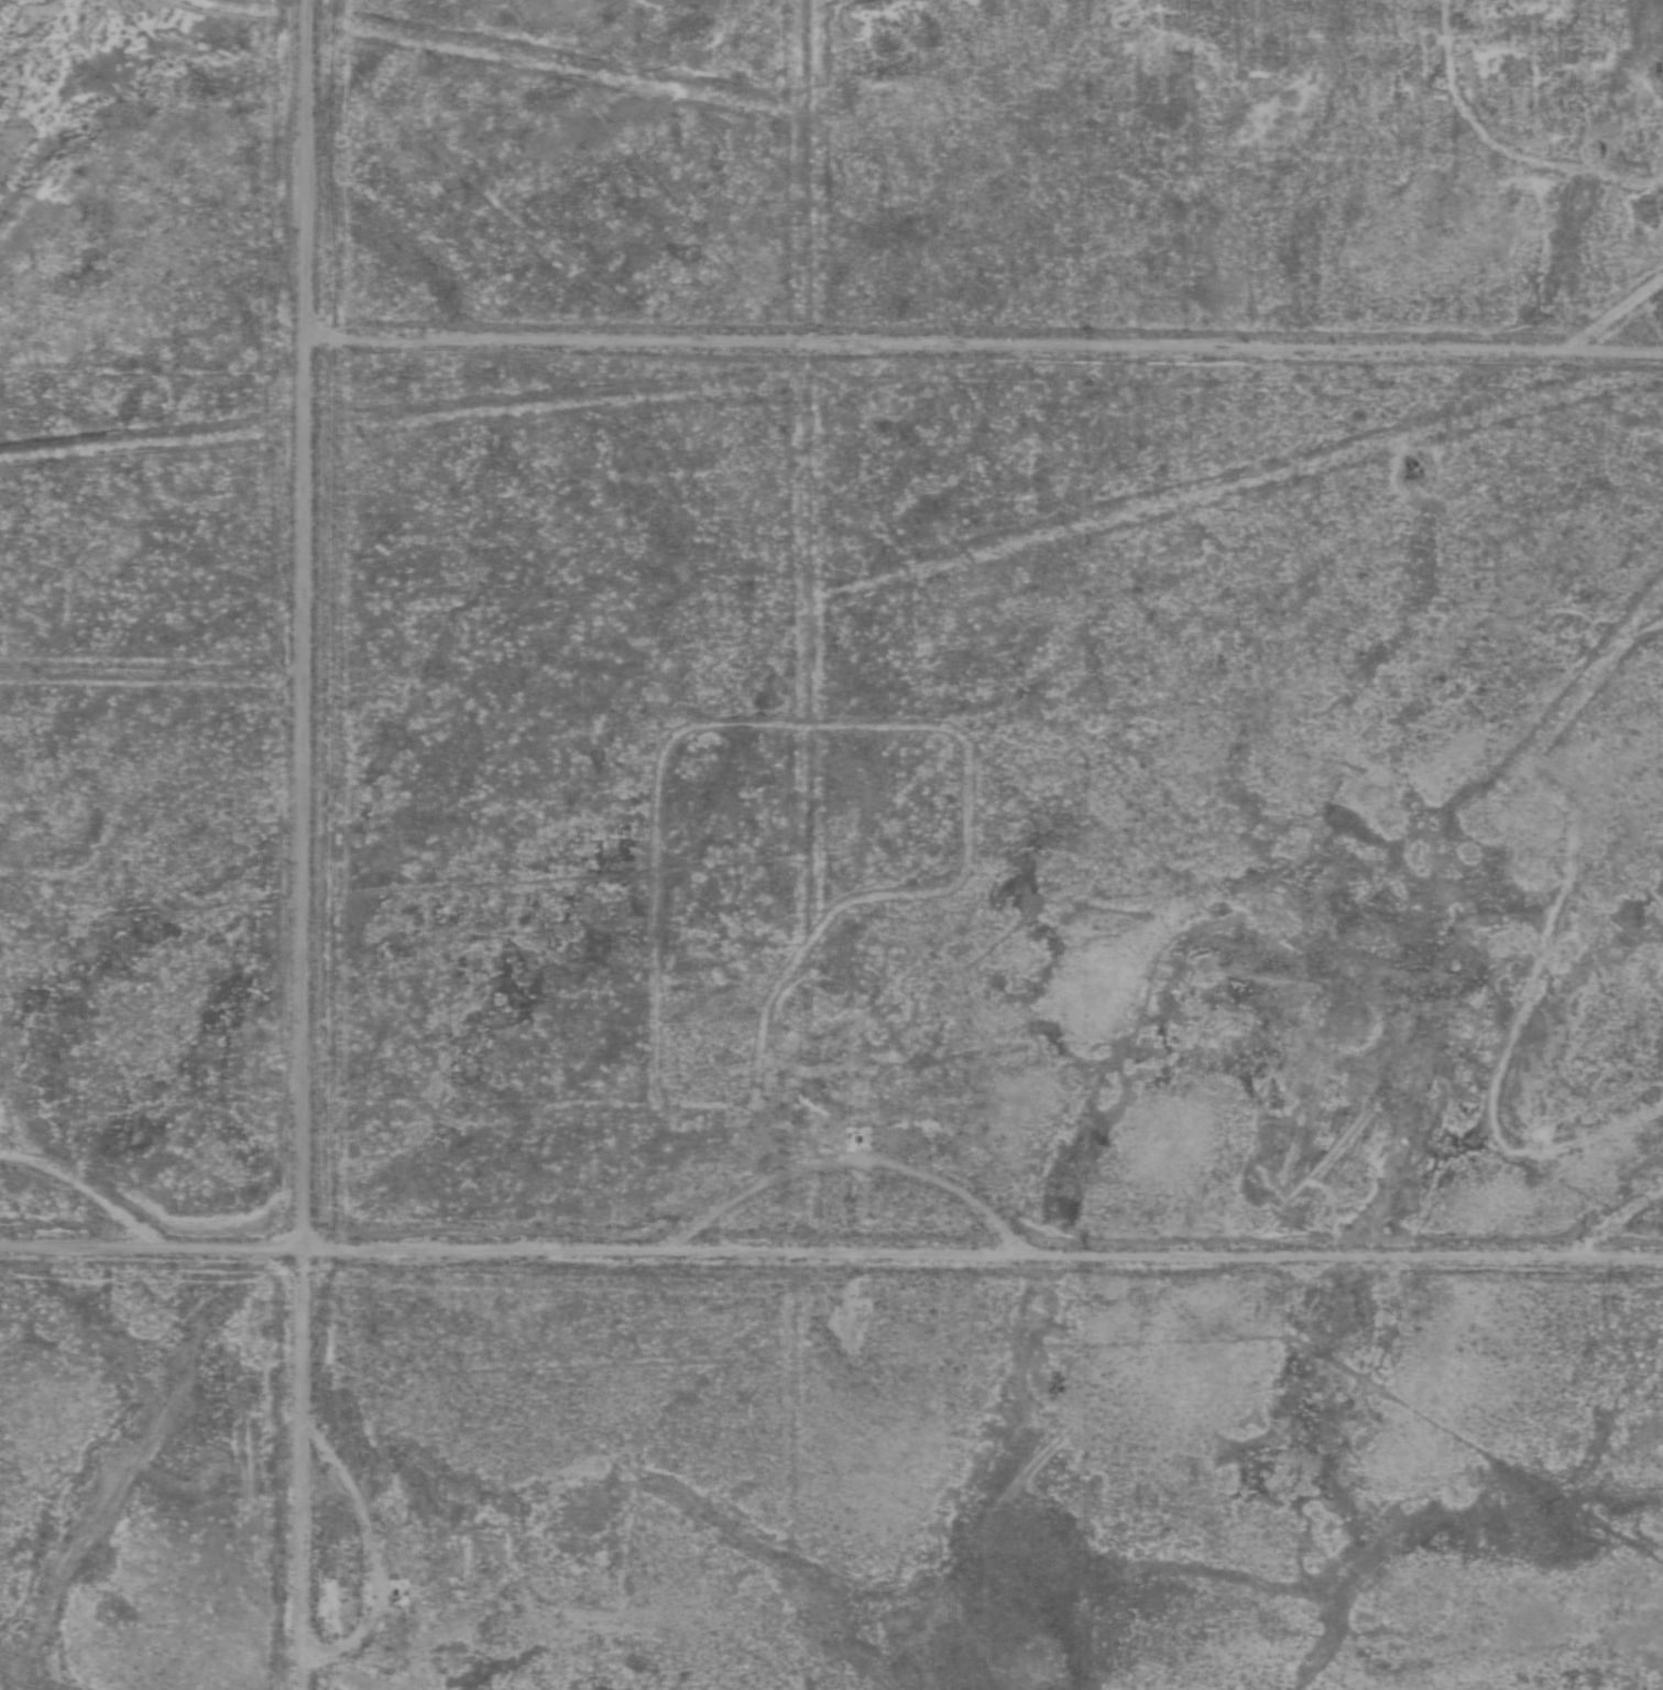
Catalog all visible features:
road: (985, 350)
road: (304, 844)
road: (831, 1260)

